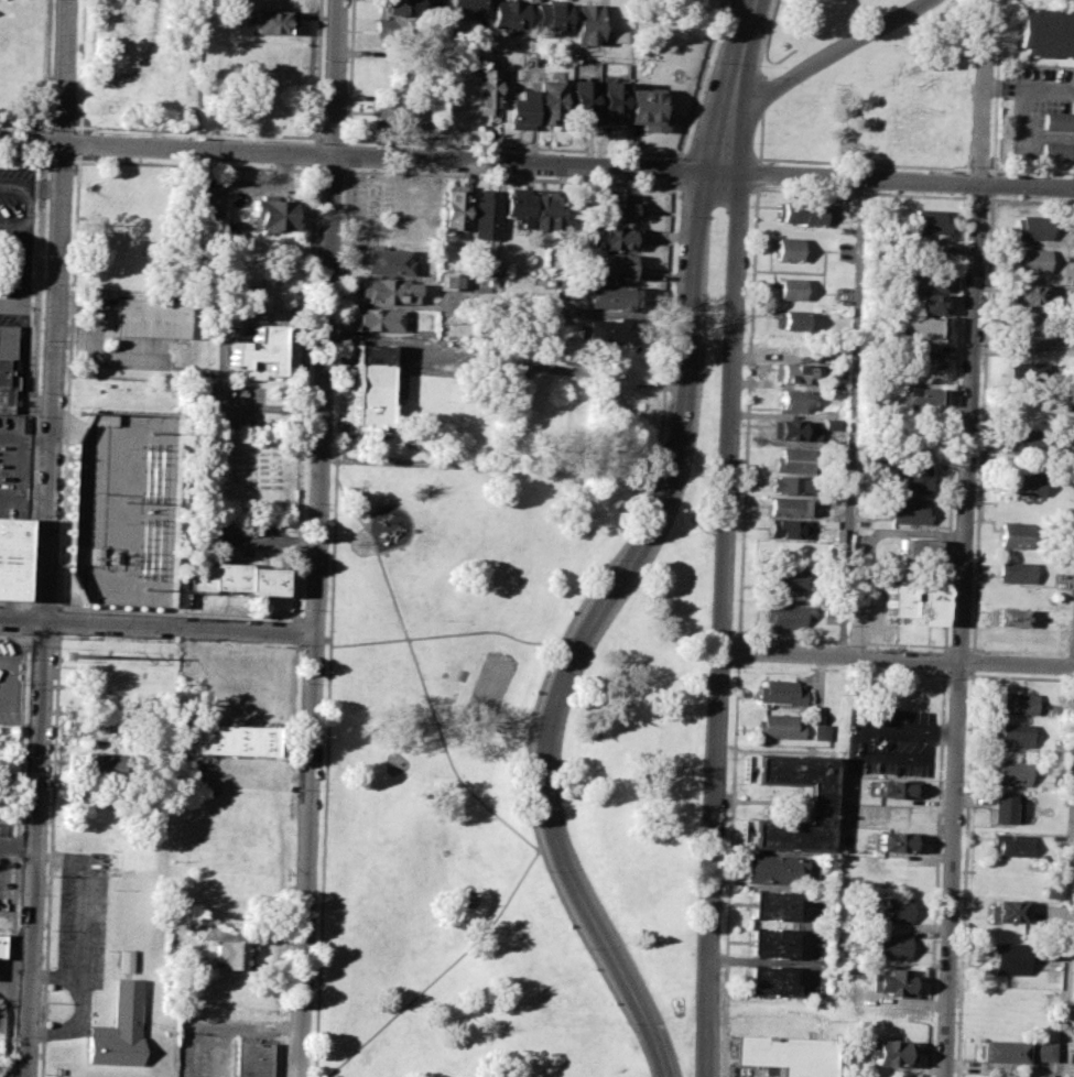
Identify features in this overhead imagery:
park: (1028, 2)
building: (402, 7)
building: (469, 7)
building: (510, 14)
building: (552, 17)
building: (271, 22)
building: (588, 24)
street lamp: (853, 25)
building: (399, 32)
building: (1044, 33)
building: (618, 36)
road: (739, 50)
street lamp: (973, 53)
road: (828, 54)
street lamp: (712, 62)
street lamp: (753, 65)
road: (66, 72)
road: (317, 72)
road: (761, 77)
street lamp: (766, 77)
road: (699, 79)
park: (805, 81)
road: (1028, 89)
road: (995, 94)
building: (487, 96)
road: (981, 99)
building: (549, 102)
building: (582, 104)
building: (612, 104)
building: (520, 109)
building: (644, 109)
parking lot: (1043, 111)
building: (398, 120)
building: (1057, 121)
road: (24, 123)
road: (724, 137)
road: (43, 141)
street lamp: (687, 141)
street lamp: (752, 143)
street lamp: (442, 149)
building: (1055, 151)
street lamp: (524, 152)
road: (314, 154)
street lamp: (607, 155)
road: (360, 156)
road: (864, 163)
road: (978, 168)
road: (674, 170)
road: (1031, 171)
road: (757, 172)
street lamp: (319, 175)
road: (897, 179)
road: (991, 184)
road: (13, 185)
street lamp: (764, 186)
road: (44, 187)
street lamp: (851, 189)
street lamp: (930, 191)
street lamp: (749, 195)
street lamp: (1011, 196)
building: (617, 206)
building: (518, 207)
building: (545, 208)
building: (455, 209)
building: (801, 210)
building: (274, 215)
building: (487, 216)
street lamp: (677, 216)
building: (929, 220)
road: (13, 224)
building: (1029, 228)
building: (612, 238)
street lamp: (965, 239)
road: (26, 246)
building: (788, 250)
building: (931, 252)
building: (1029, 260)
building: (387, 262)
building: (614, 268)
street lamp: (745, 273)
street lamp: (315, 280)
building: (452, 281)
building: (929, 281)
building: (791, 289)
building: (388, 293)
building: (1026, 294)
building: (609, 297)
building: (927, 303)
road: (387, 304)
road: (10, 305)
street lamp: (674, 305)
building: (790, 319)
building: (152, 320)
building: (379, 320)
building: (916, 329)
building: (607, 335)
building: (1028, 337)
street lamp: (742, 342)
building: (258, 352)
building: (922, 360)
road: (507, 363)
building: (7, 367)
road: (22, 370)
building: (1024, 371)
building: (792, 372)
road: (54, 381)
building: (372, 387)
road: (305, 392)
road: (34, 393)
street lamp: (311, 394)
street lamp: (671, 394)
building: (918, 396)
building: (791, 401)
power tower: (80, 412)
road: (748, 414)
road: (850, 417)
road: (981, 423)
road: (660, 424)
building: (798, 431)
power tower: (150, 432)
road: (26, 438)
building: (1026, 440)
building: (795, 461)
road: (432, 465)
road: (19, 468)
building: (914, 477)
road: (336, 479)
street lamp: (651, 481)
building: (1024, 483)
building: (792, 485)
road: (24, 498)
street lamp: (307, 502)
power substation: (123, 508)
building: (791, 508)
building: (909, 510)
street lamp: (736, 520)
building: (788, 529)
building: (1018, 535)
road: (319, 538)
building: (915, 553)
street lamp: (608, 557)
building: (11, 559)
road: (59, 569)
building: (1016, 572)
building: (789, 580)
building: (234, 581)
power tower: (144, 588)
street lamp: (733, 600)
building: (896, 601)
road: (26, 605)
road: (44, 605)
road: (57, 605)
building: (929, 607)
street lamp: (303, 610)
building: (783, 616)
building: (1009, 617)
road: (23, 619)
street lamp: (443, 619)
road: (25, 620)
road: (719, 623)
road: (181, 627)
road: (590, 627)
road: (962, 630)
road: (297, 631)
road: (445, 634)
street lamp: (558, 637)
street lamp: (293, 643)
road: (738, 651)
street lamp: (481, 653)
power tower: (74, 655)
road: (897, 660)
road: (973, 662)
street lamp: (730, 671)
road: (8, 677)
street lamp: (302, 683)
park: (489, 687)
building: (781, 694)
building: (1016, 703)
road: (295, 706)
street lamp: (497, 719)
street lamp: (527, 725)
building: (781, 728)
park: (653, 730)
road: (909, 731)
building: (823, 733)
park: (464, 735)
building: (1011, 735)
building: (232, 741)
parking lot: (890, 742)
street lamp: (727, 759)
park: (397, 763)
building: (99, 766)
building: (1011, 772)
street lamp: (434, 777)
road: (323, 786)
street lamp: (296, 790)
building: (899, 791)
road: (477, 795)
street lamp: (524, 796)
building: (818, 804)
building: (1002, 808)
street lamp: (724, 844)
building: (899, 844)
parking lot: (4, 845)
building: (1009, 845)
road: (18, 847)
road: (35, 848)
road: (17, 856)
road: (729, 868)
building: (774, 870)
street lamp: (544, 871)
road: (964, 873)
road: (1065, 885)
building: (1050, 891)
park: (468, 895)
building: (770, 909)
building: (894, 912)
building: (1005, 912)
parking lot: (82, 916)
road: (77, 921)
street lamp: (720, 929)
building: (770, 945)
building: (2, 946)
street lamp: (583, 947)
building: (893, 949)
building: (232, 954)
building: (1006, 957)
road: (444, 971)
road: (285, 972)
building: (768, 983)
building: (891, 983)
street lamp: (720, 1003)
road: (79, 1005)
street lamp: (288, 1008)
building: (119, 1016)
street lamp: (627, 1023)
street lamp: (14, 1036)
building: (1011, 1051)
building: (888, 1053)
building: (783, 1057)
building: (251, 1058)
building: (1072, 1068)
building: (768, 1074)
road: (1, 1076)

